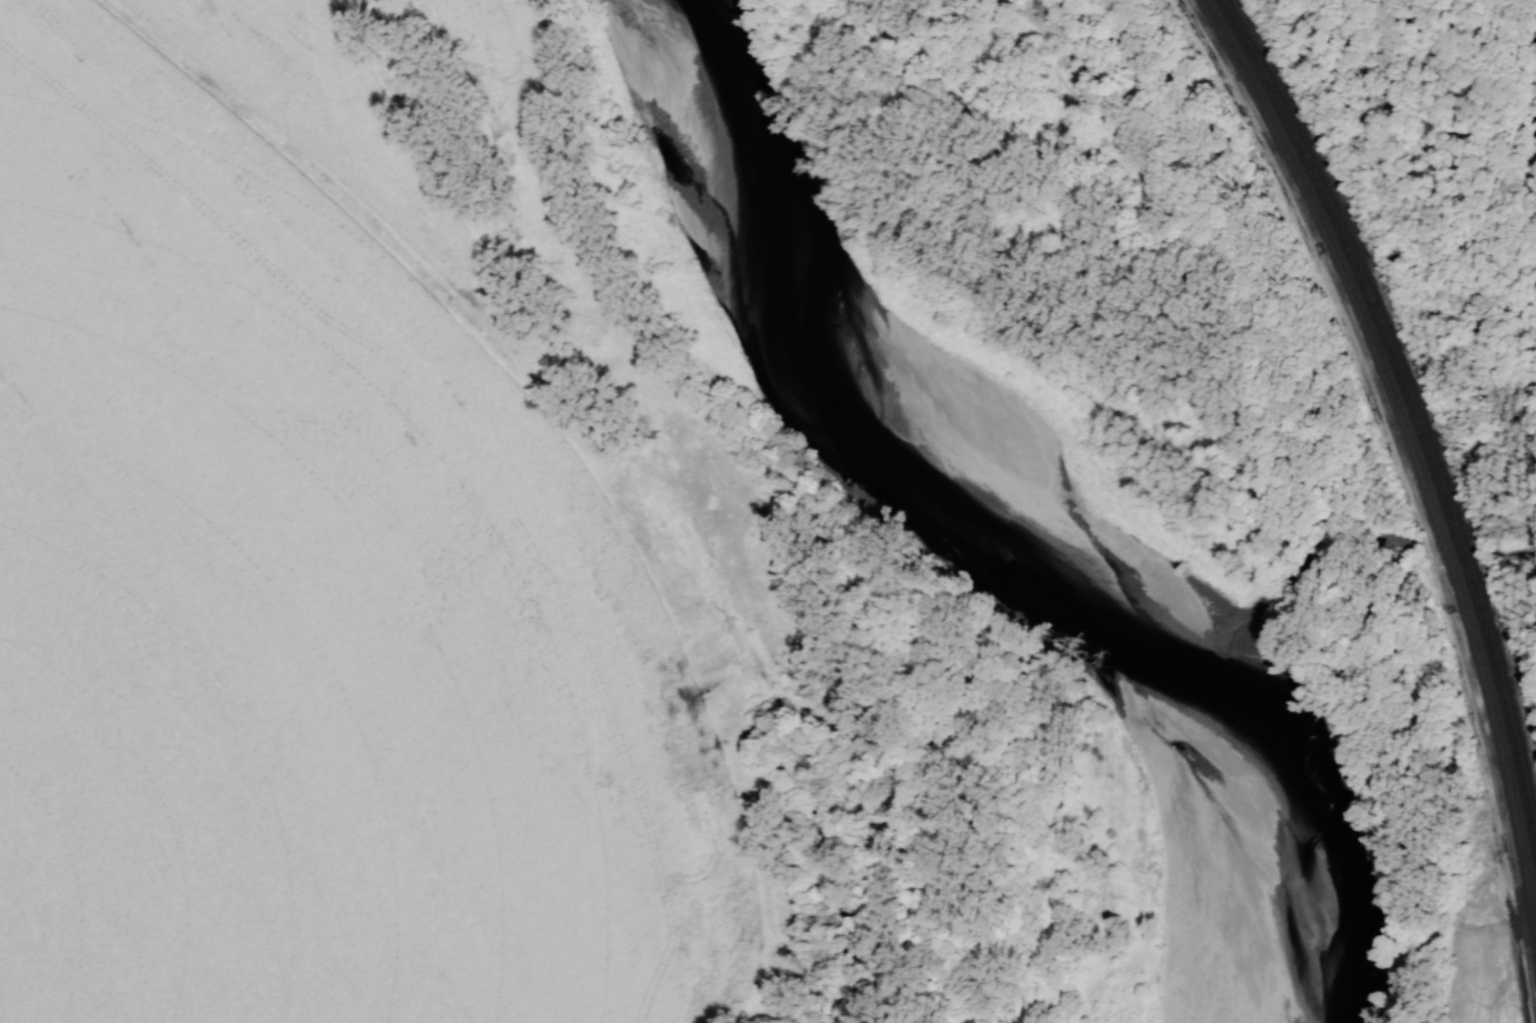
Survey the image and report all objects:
railway: (1414, 414)
railway: (1410, 453)
river: (1005, 496)

